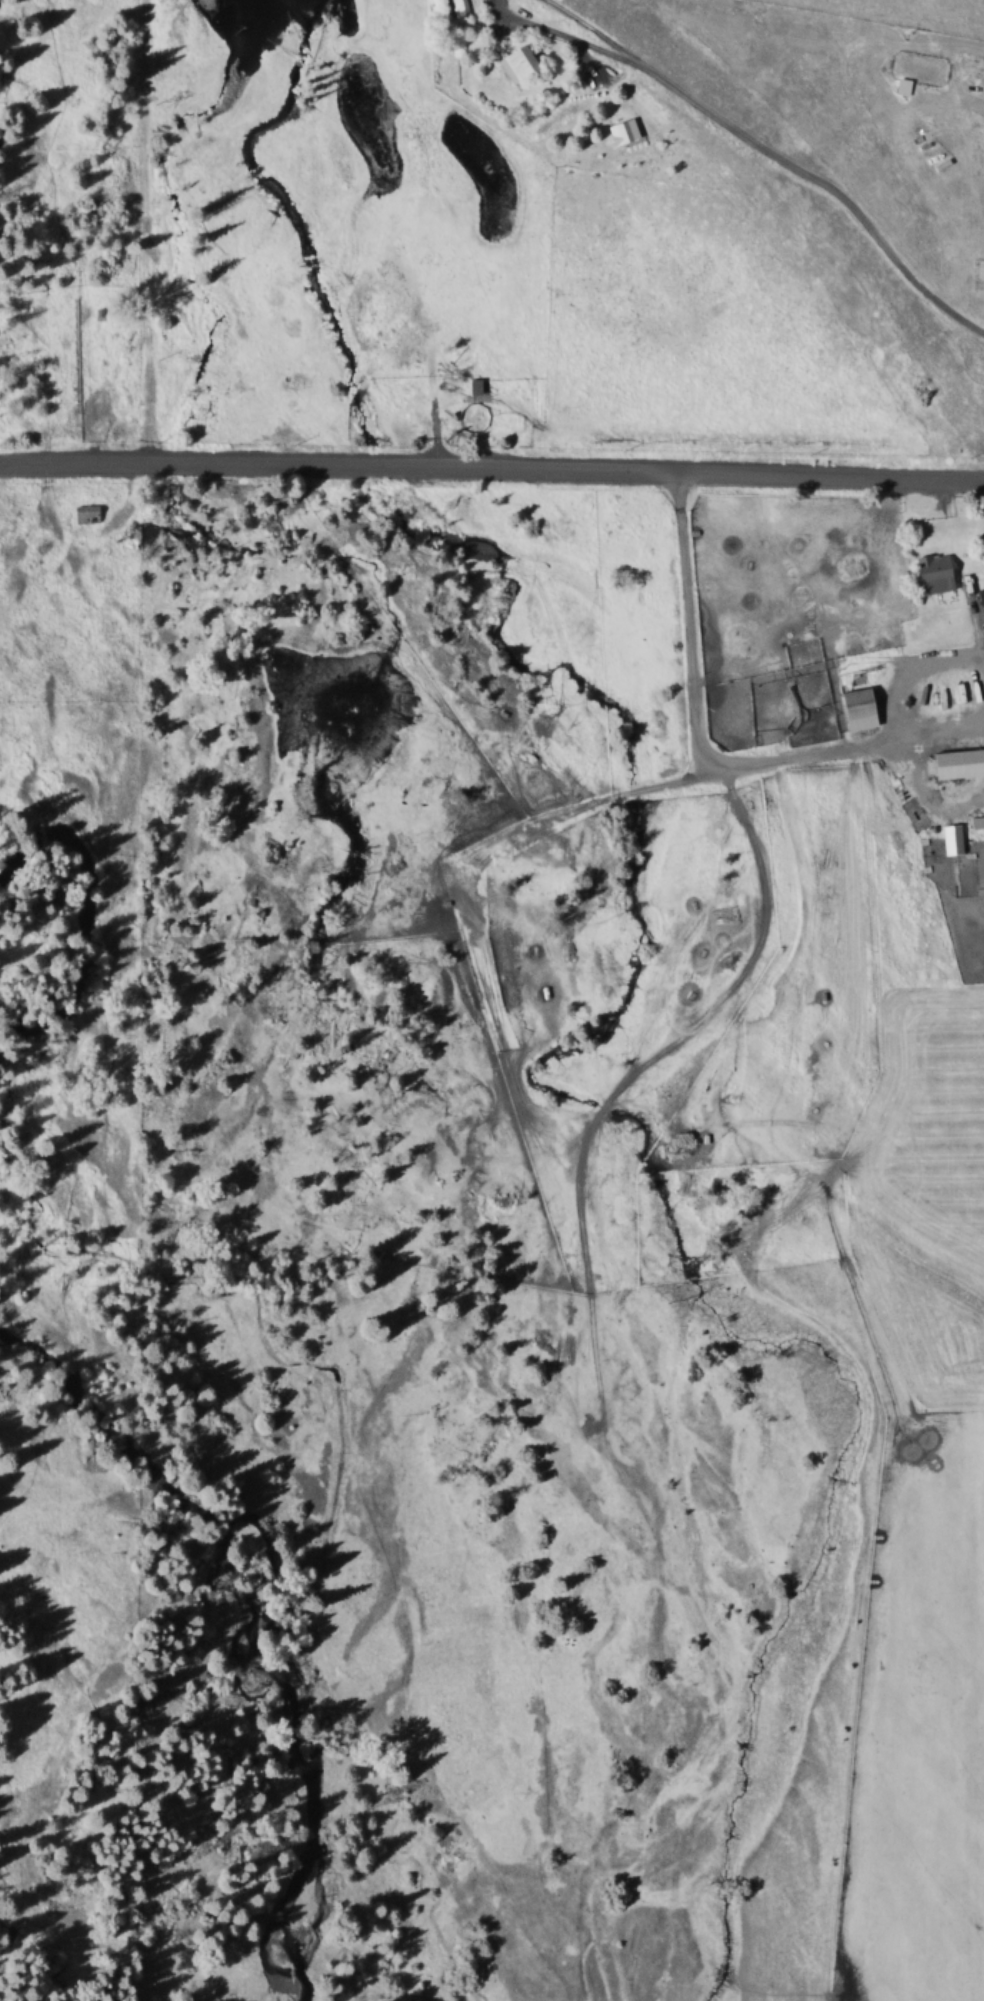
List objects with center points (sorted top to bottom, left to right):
building: (458, 8)
building: (516, 61)
road: (776, 149)
building: (475, 385)
road: (492, 464)
building: (91, 513)
building: (934, 572)
building: (975, 612)
crop: (786, 665)
building: (856, 708)
river: (146, 1010)

